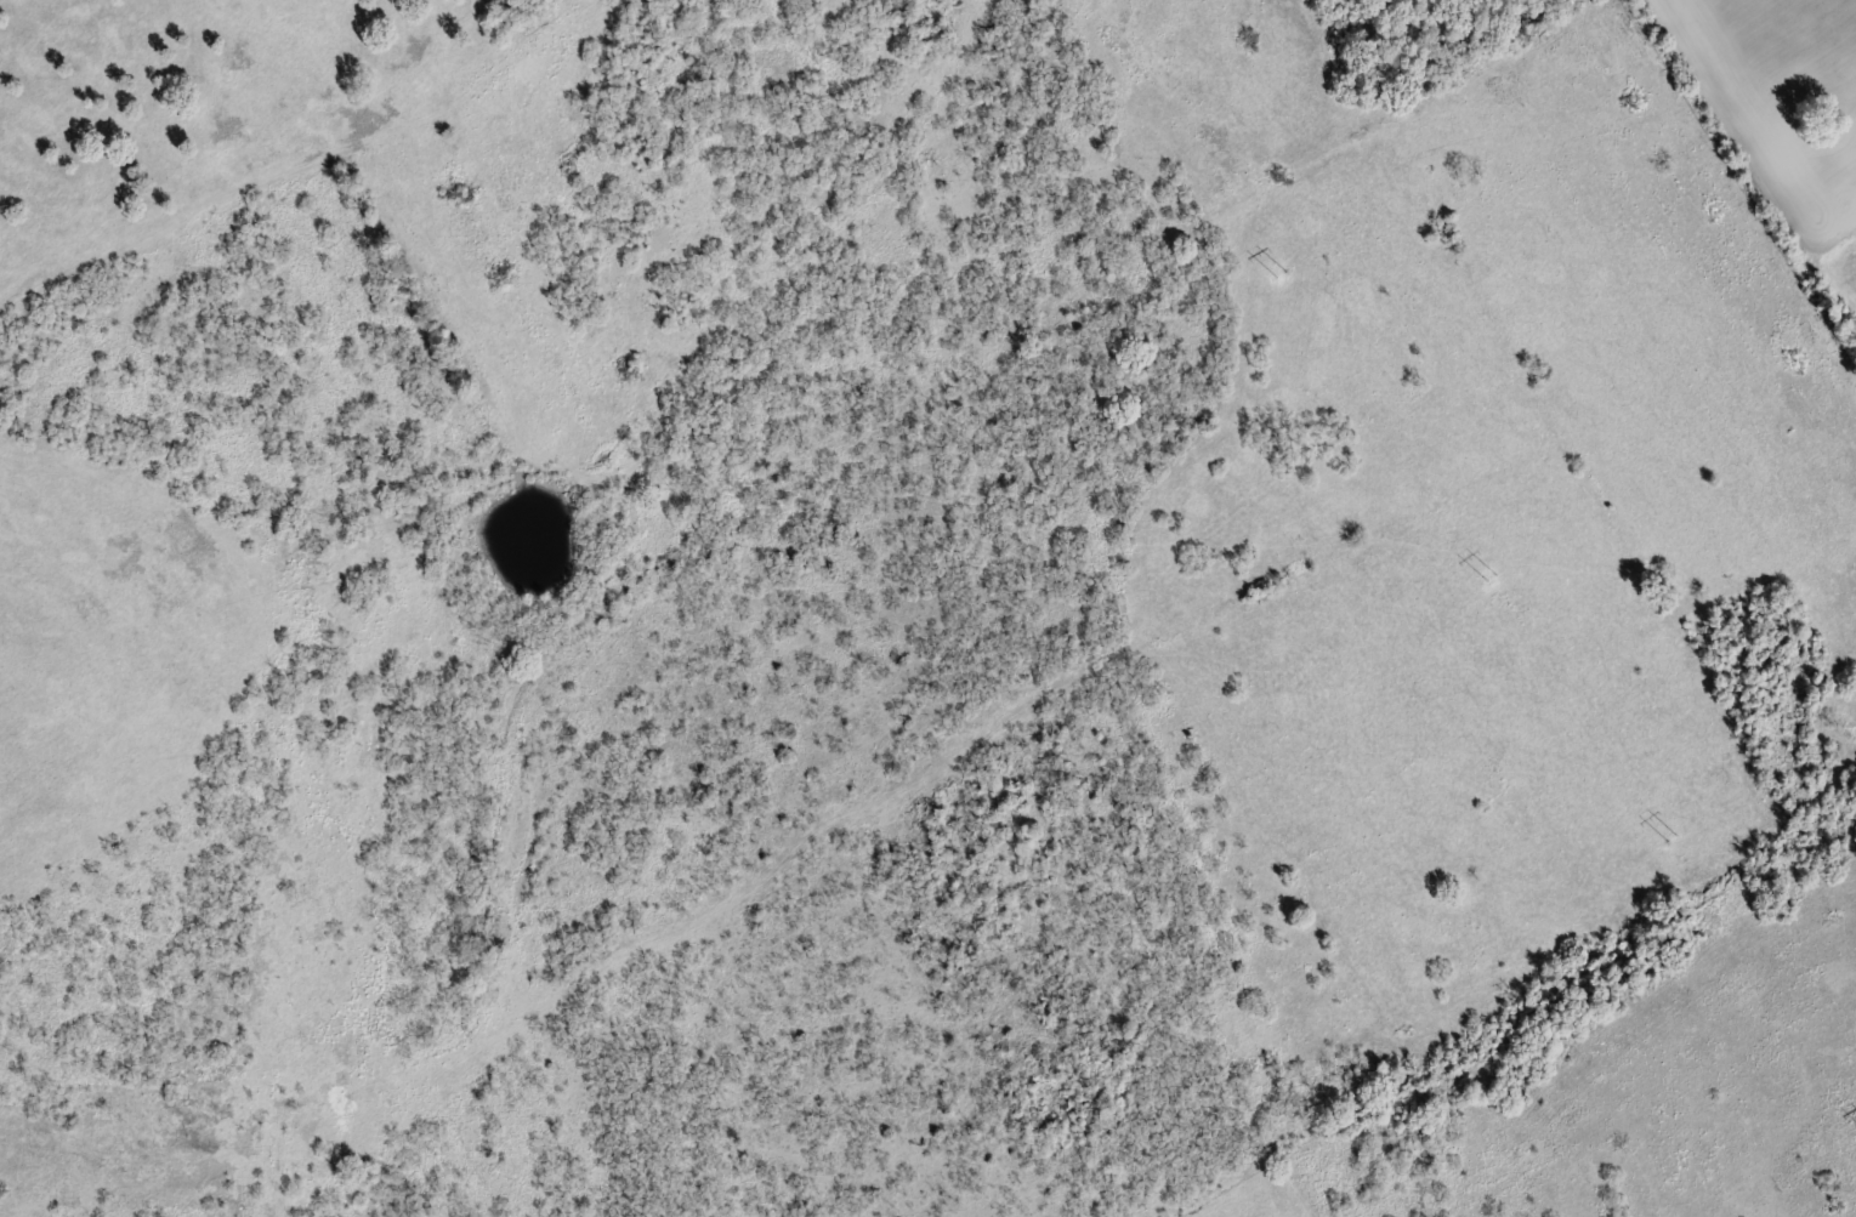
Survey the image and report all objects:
power tower: (1675, 835)
road: (577, 1022)

